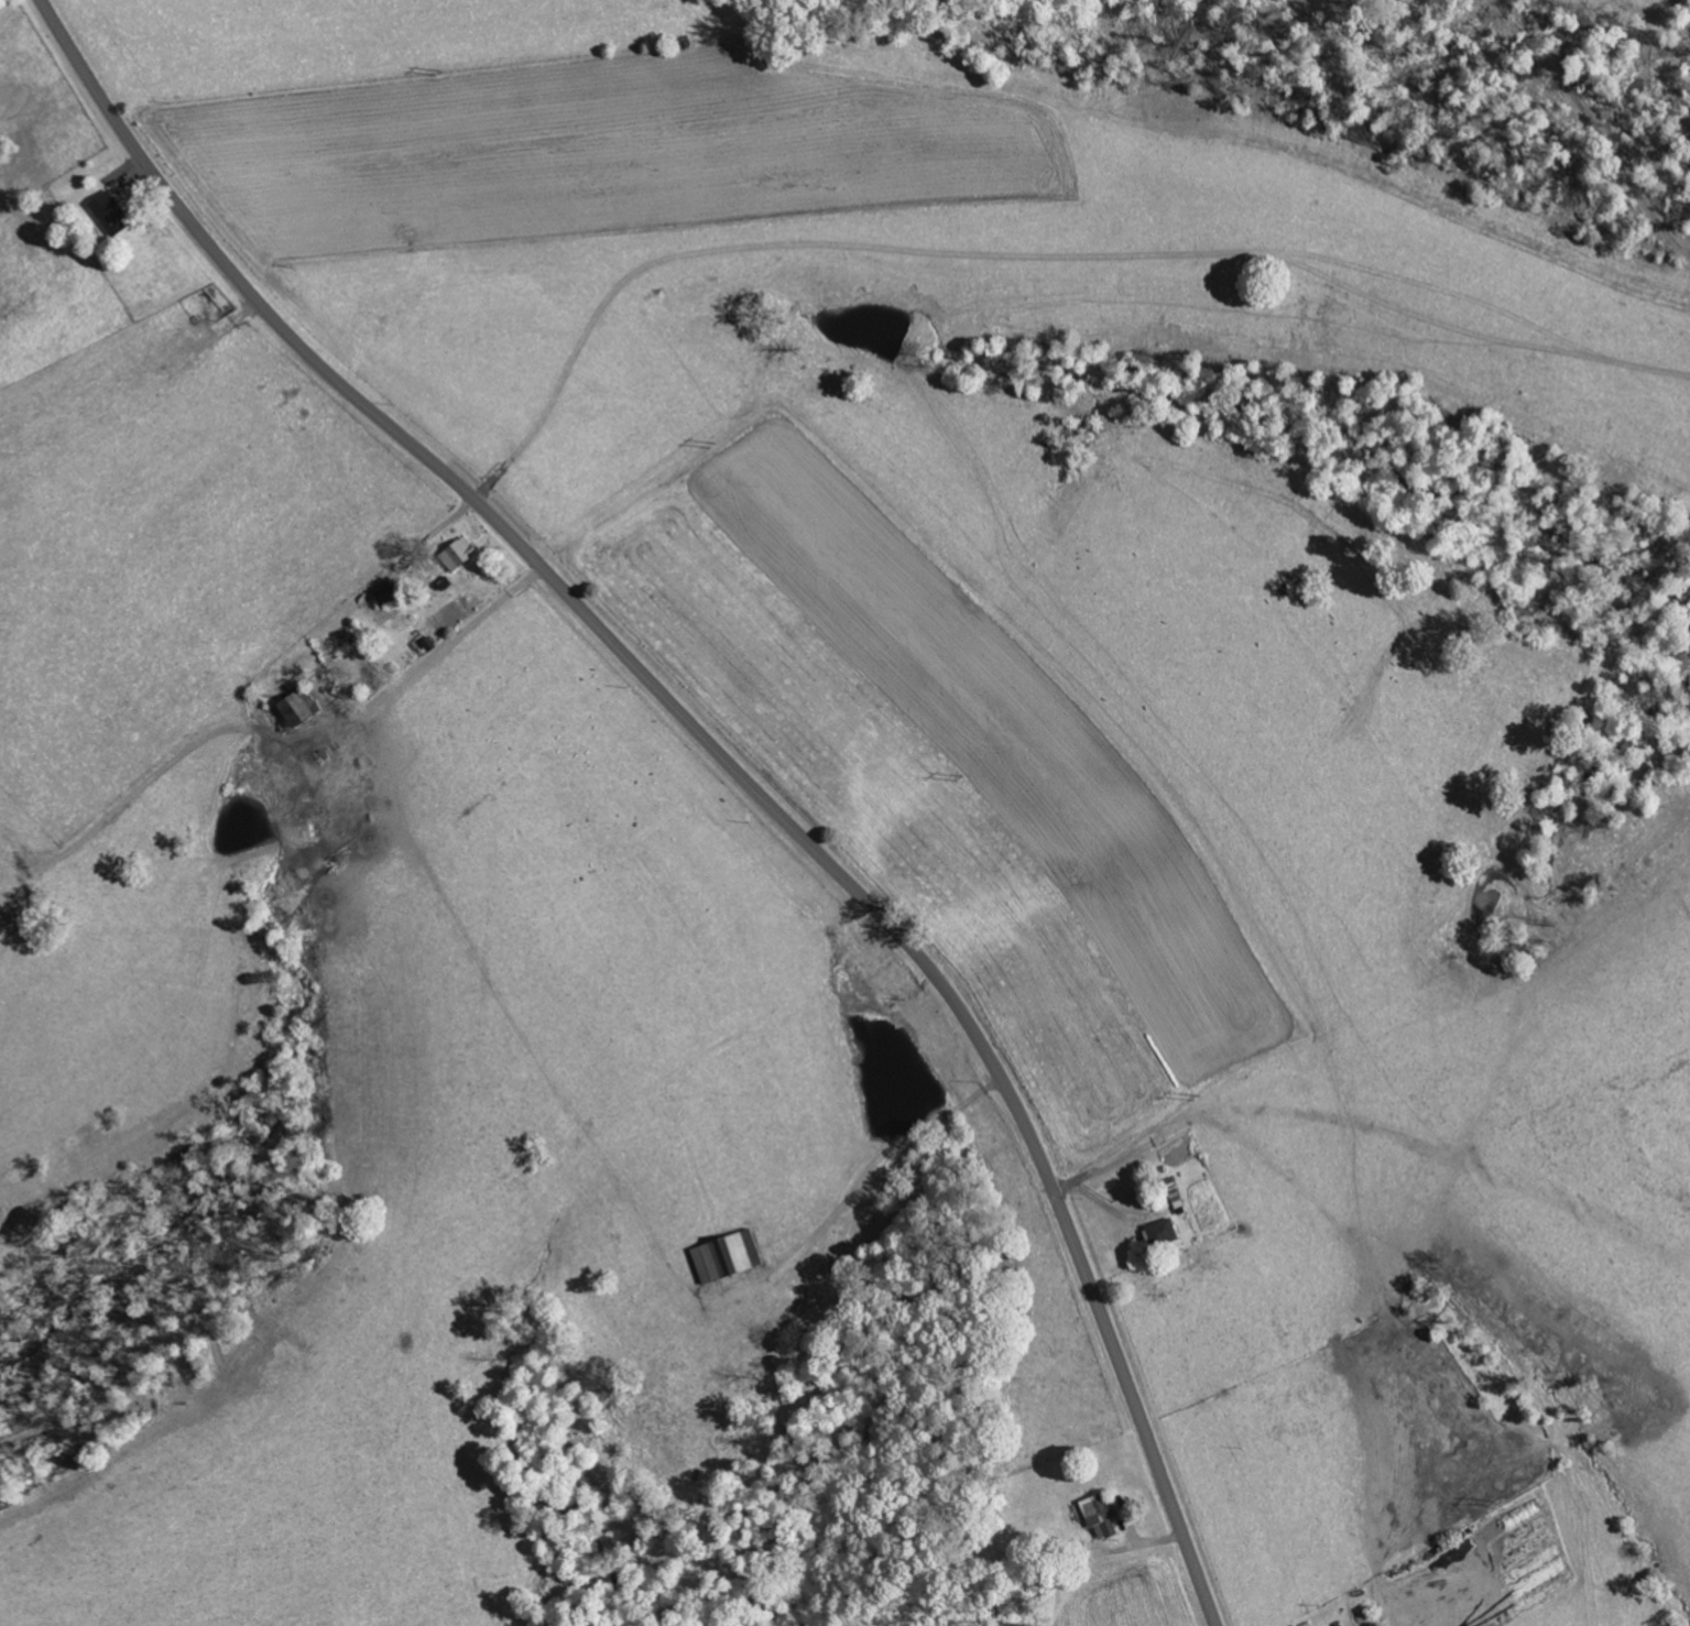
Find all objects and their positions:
building: (111, 214)
building: (464, 549)
building: (386, 592)
building: (297, 709)
road: (719, 753)
building: (1163, 1232)
building: (729, 1255)
building: (1102, 1514)

